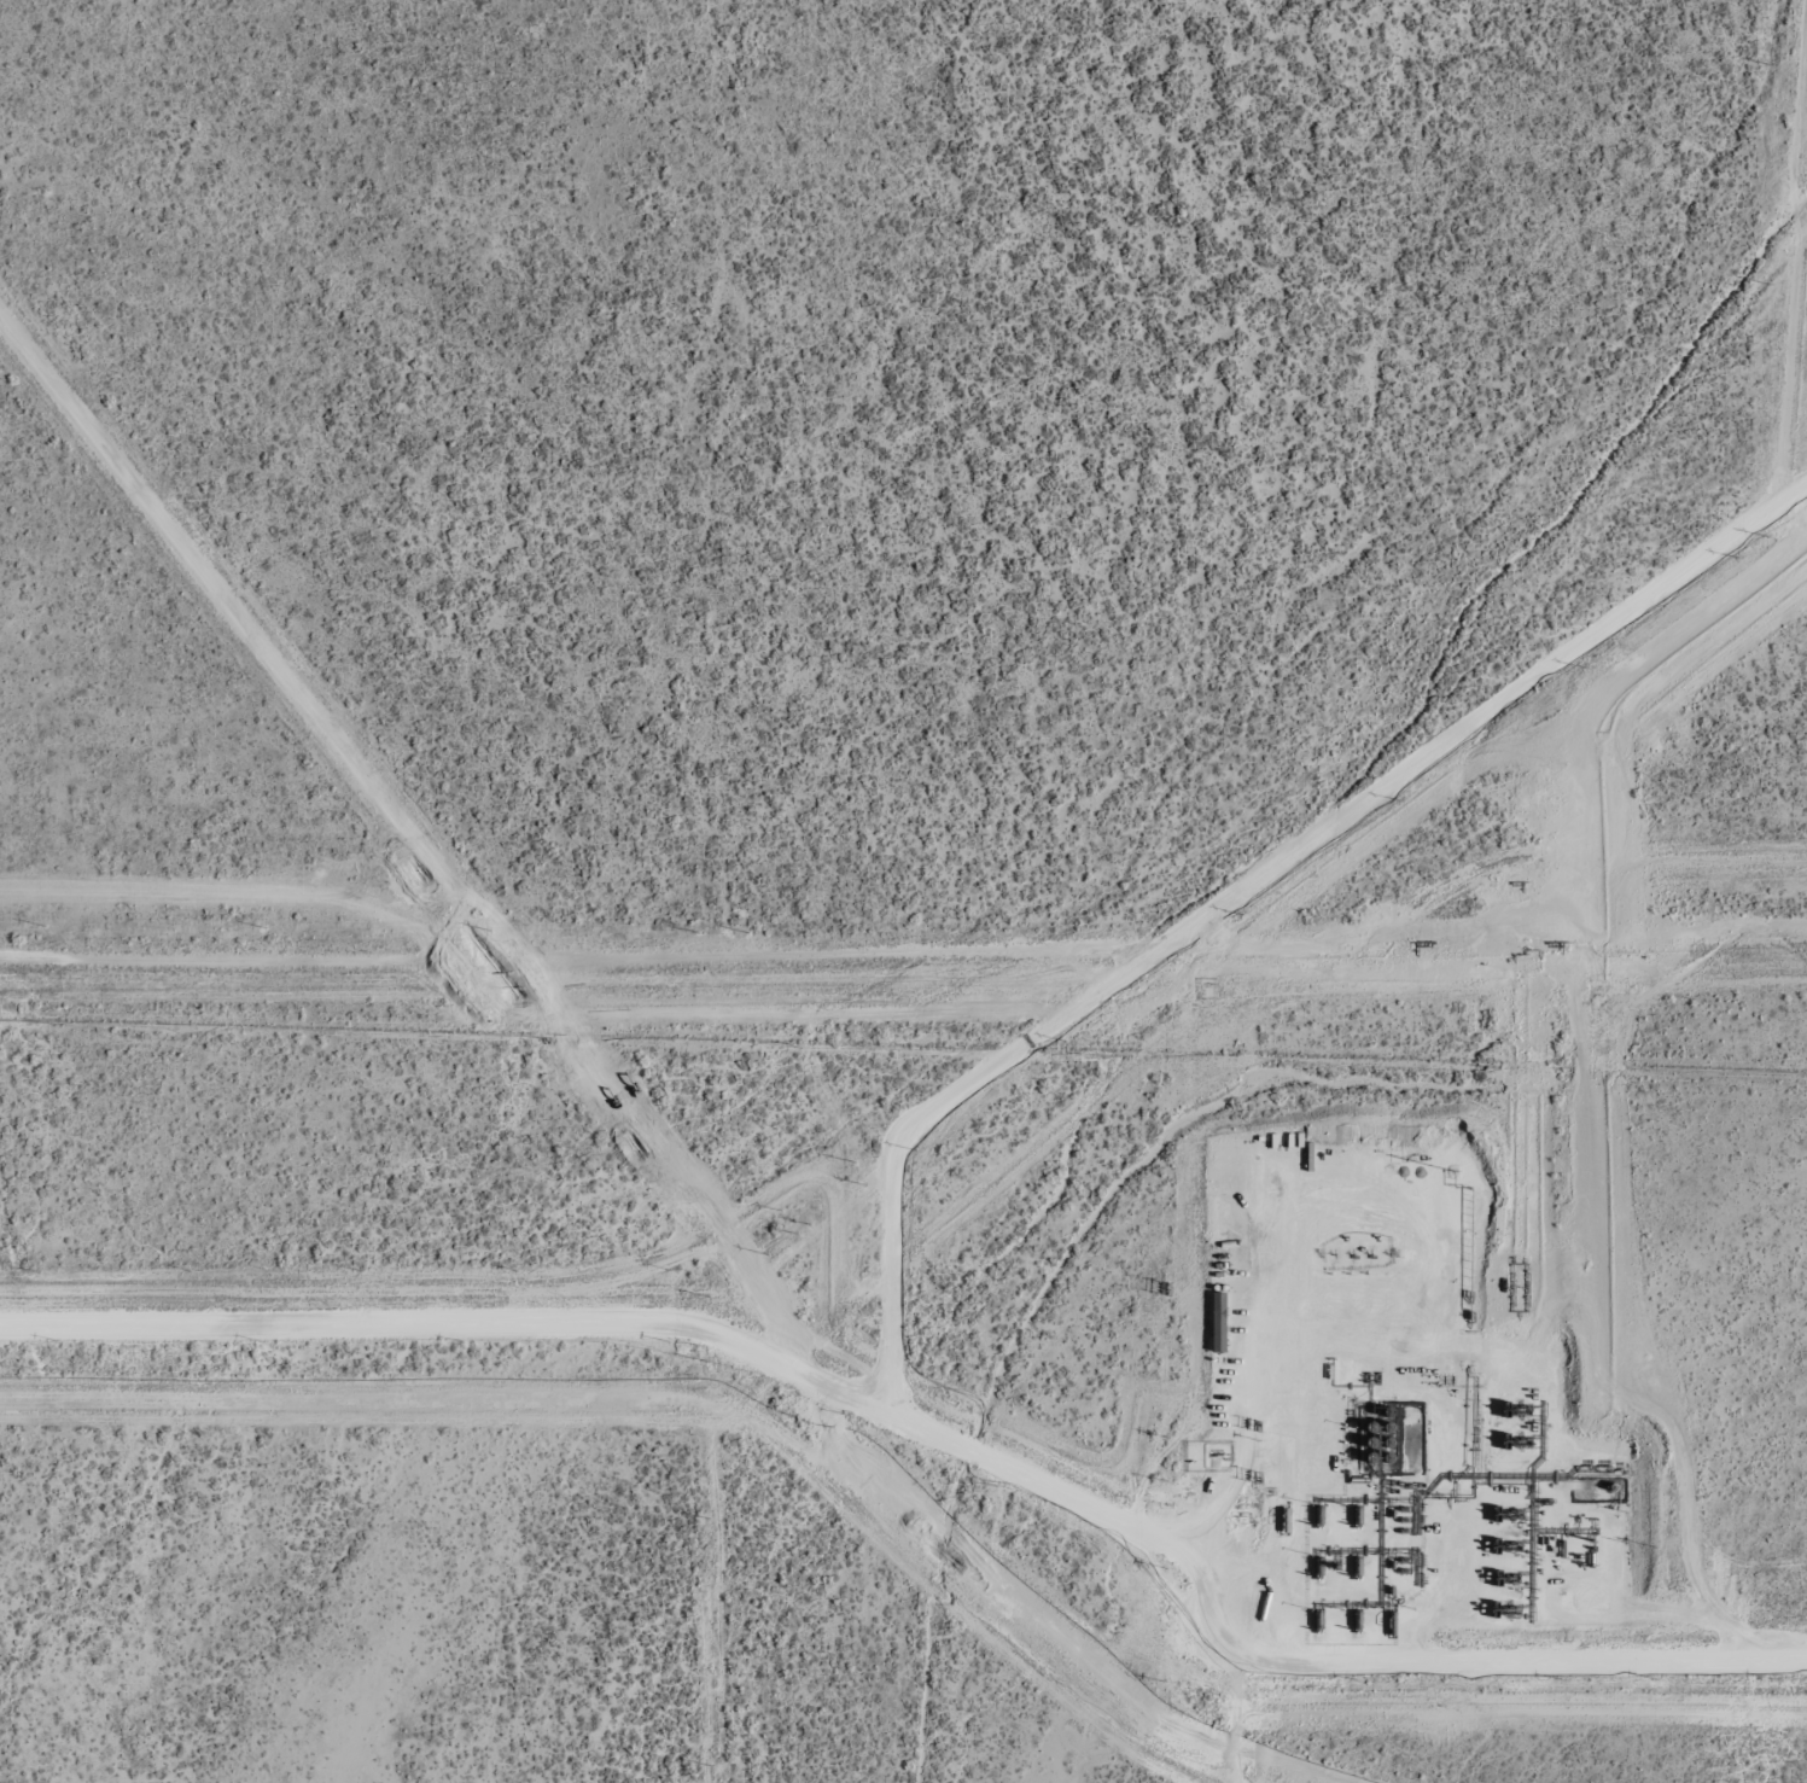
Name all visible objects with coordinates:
road: (1253, 890)
petroleum well: (1334, 1253)
petroleum well: (1352, 1253)
petroleum well: (1371, 1253)
petroleum well: (1389, 1253)
road: (698, 1310)
road: (1327, 1338)
road: (1739, 1650)
road: (1457, 1654)

